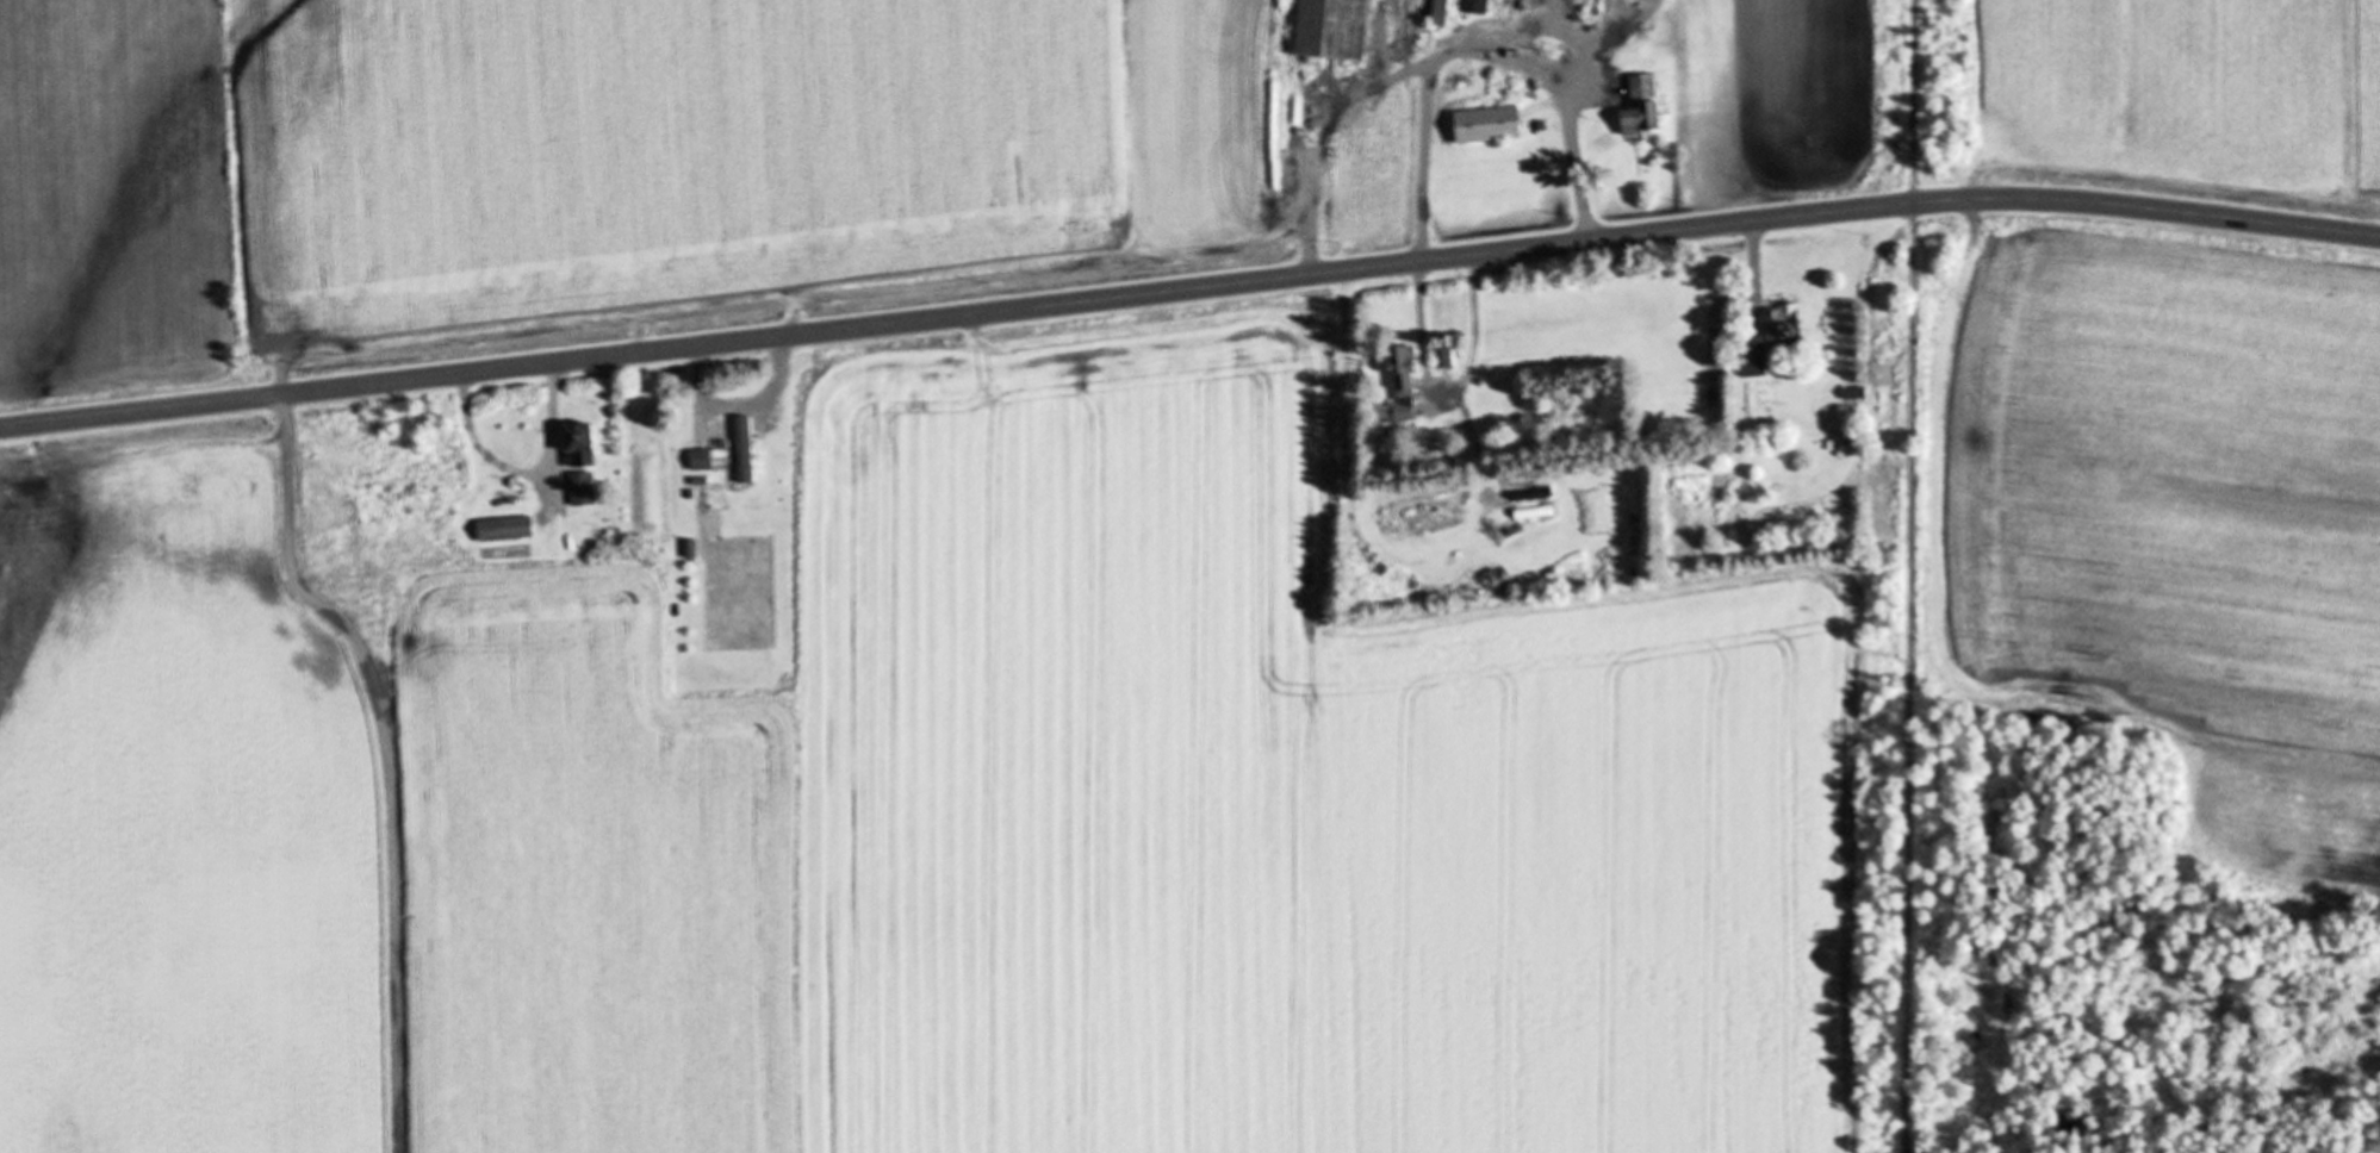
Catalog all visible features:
building: (1442, 13)
building: (1335, 31)
building: (1645, 110)
building: (1490, 127)
road: (1425, 155)
road: (1752, 256)
road: (1189, 289)
building: (1785, 328)
building: (1444, 359)
building: (1754, 359)
building: (1405, 385)
road: (698, 388)
building: (721, 444)
building: (703, 462)
building: (583, 467)
road: (532, 478)
building: (507, 530)
road: (1904, 576)
park: (1883, 680)
road: (392, 756)

